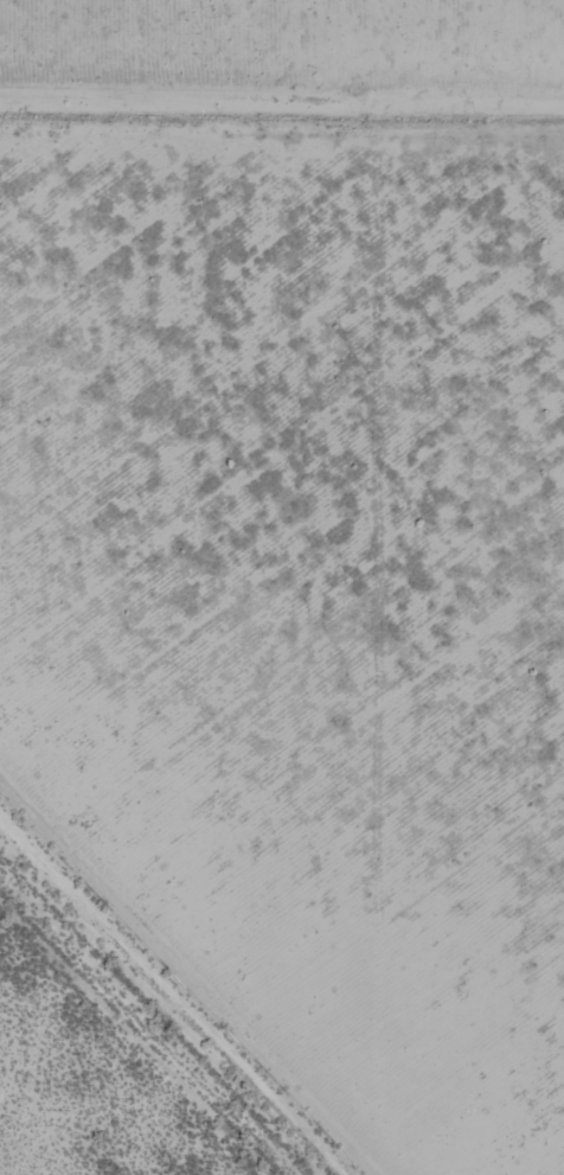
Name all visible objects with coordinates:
road: (188, 968)

